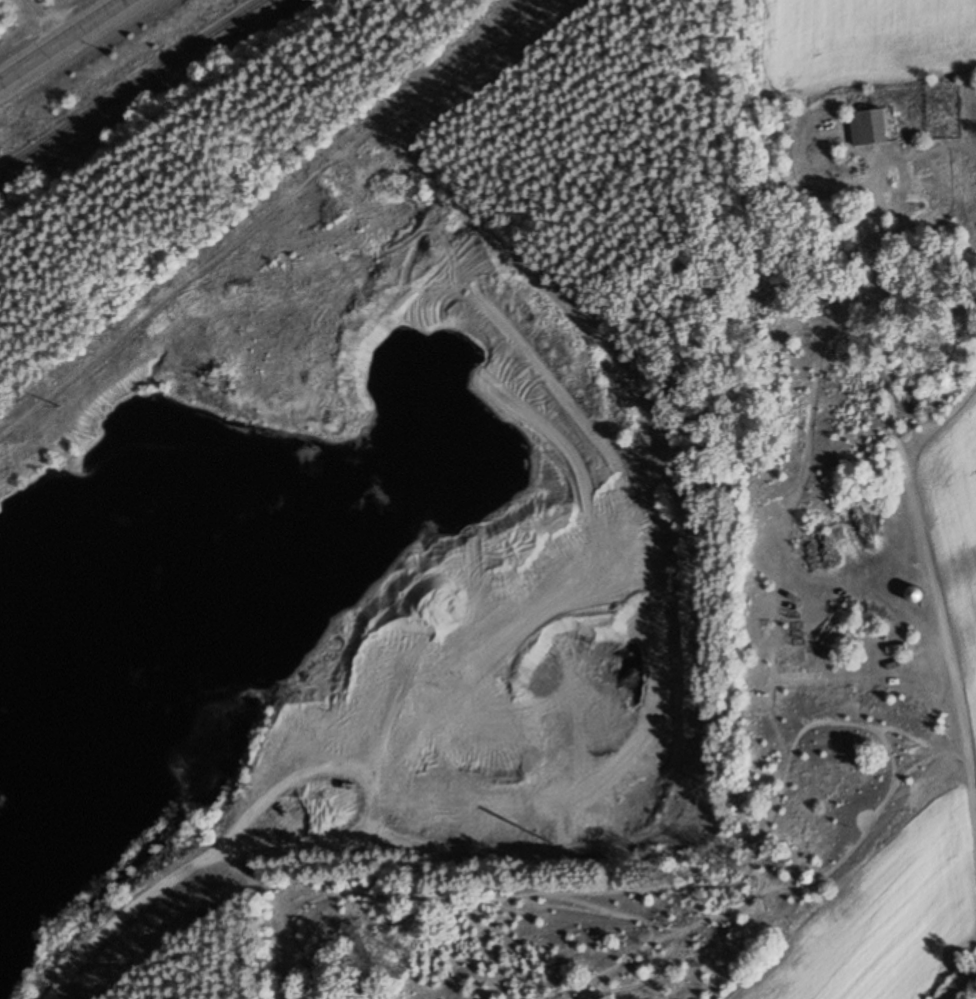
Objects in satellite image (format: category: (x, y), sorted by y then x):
road: (61, 40)
railway: (131, 86)
building: (868, 127)
building: (913, 595)
road: (787, 596)

